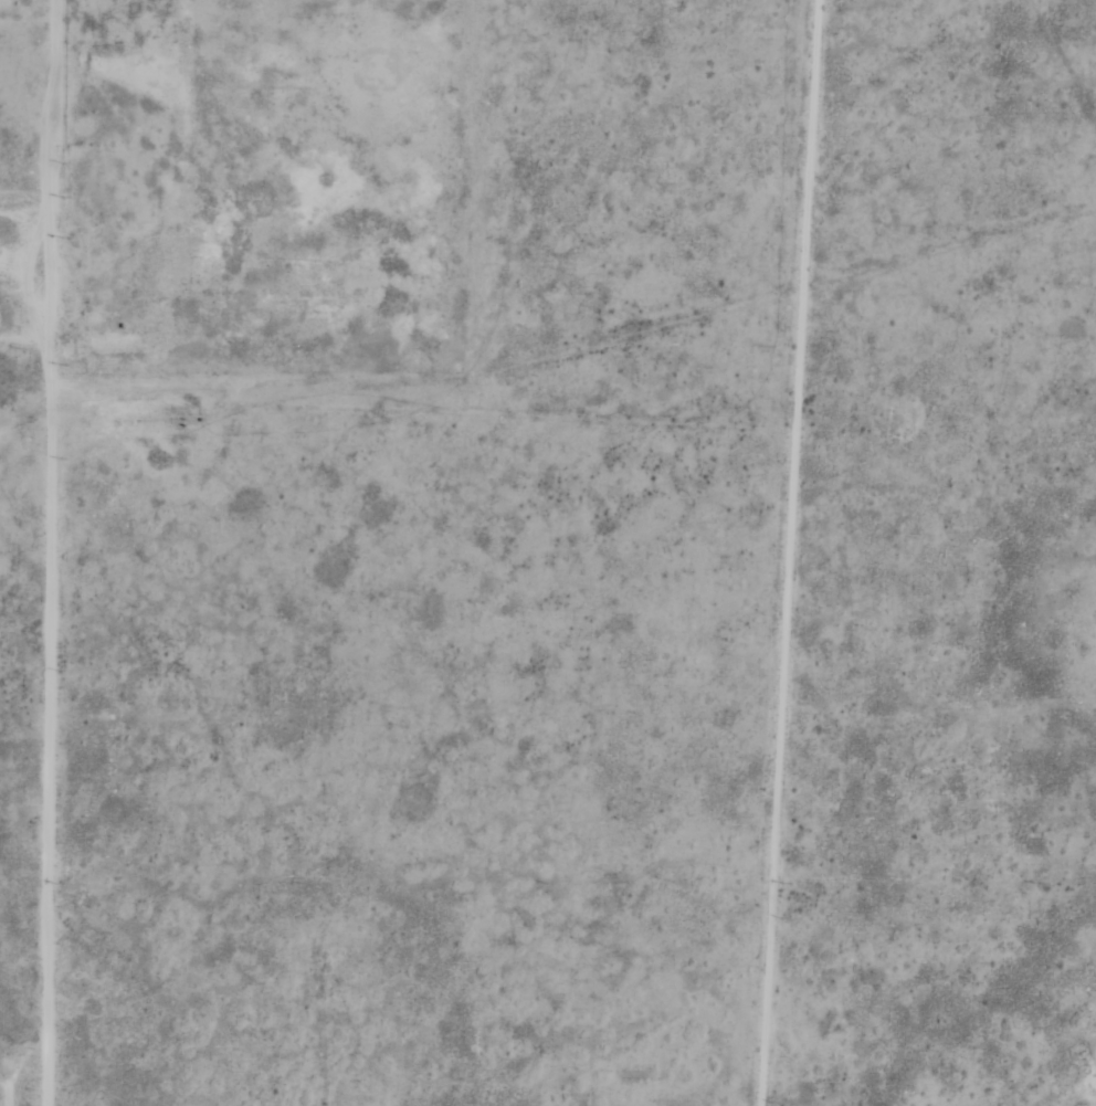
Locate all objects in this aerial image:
road: (40, 552)

